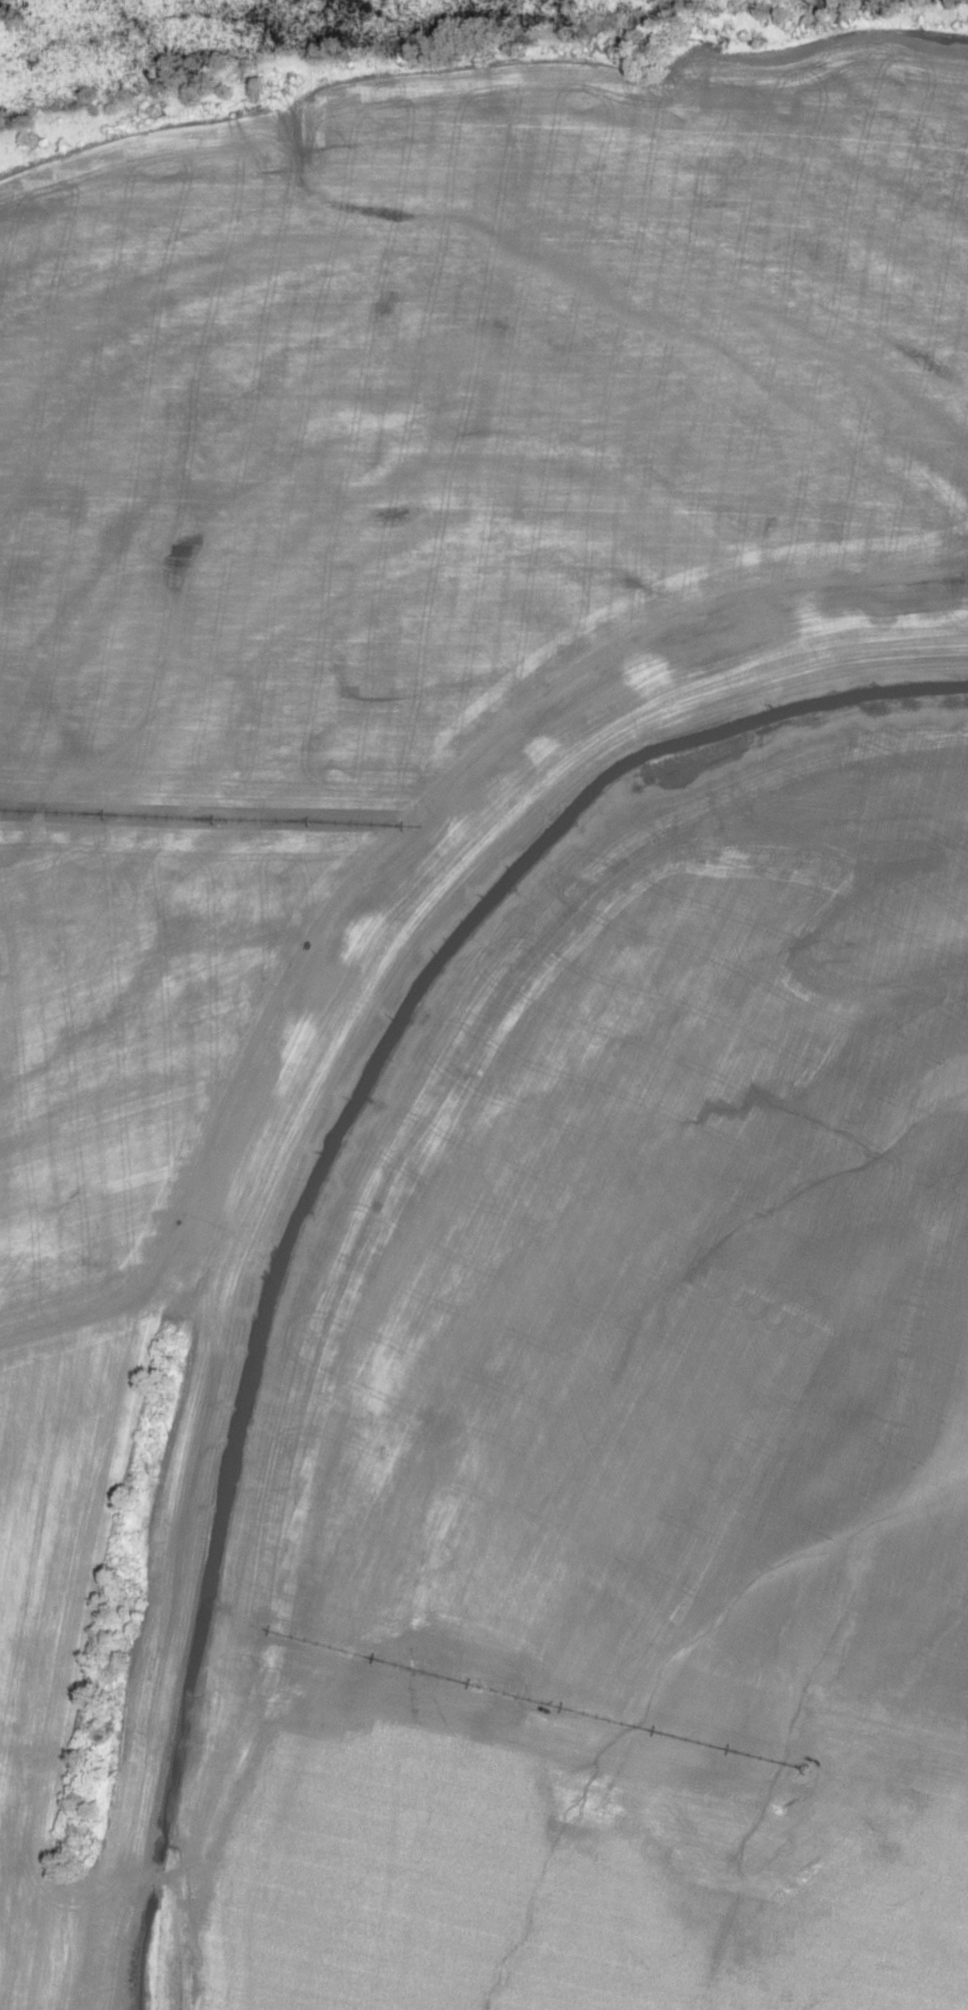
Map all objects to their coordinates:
road: (385, 838)
road: (26, 1894)

